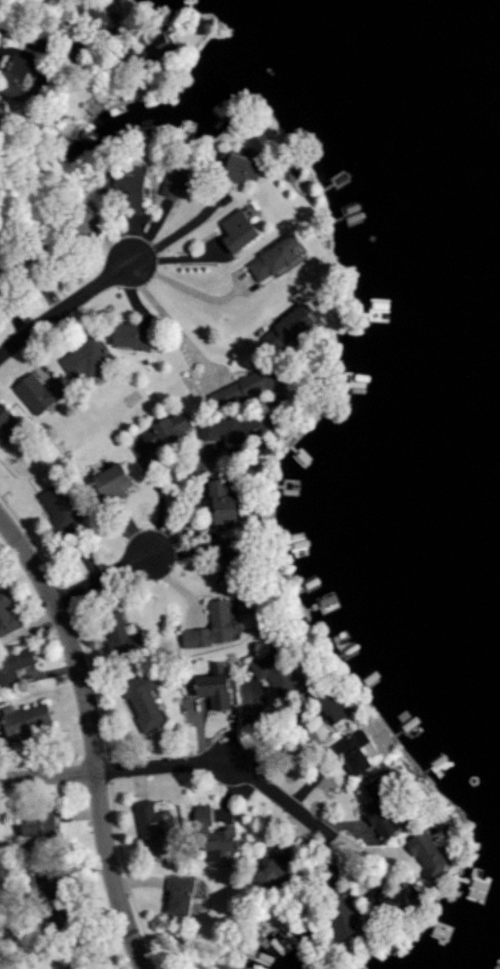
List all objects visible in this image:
road: (55, 57)
building: (234, 169)
road: (180, 229)
building: (231, 231)
building: (269, 259)
road: (190, 290)
road: (65, 308)
road: (168, 317)
road: (185, 319)
building: (284, 329)
building: (117, 336)
building: (82, 358)
building: (42, 392)
building: (7, 416)
building: (164, 432)
building: (114, 483)
road: (185, 496)
building: (224, 503)
building: (60, 506)
building: (232, 559)
road: (101, 579)
building: (8, 616)
building: (214, 626)
building: (122, 634)
building: (14, 666)
building: (277, 671)
building: (217, 686)
building: (145, 700)
building: (331, 706)
building: (25, 719)
road: (91, 736)
road: (116, 770)
road: (280, 797)
building: (384, 809)
building: (39, 823)
building: (155, 828)
building: (213, 836)
building: (429, 854)
building: (274, 874)
building: (181, 895)
building: (399, 896)
building: (54, 902)
building: (345, 915)

